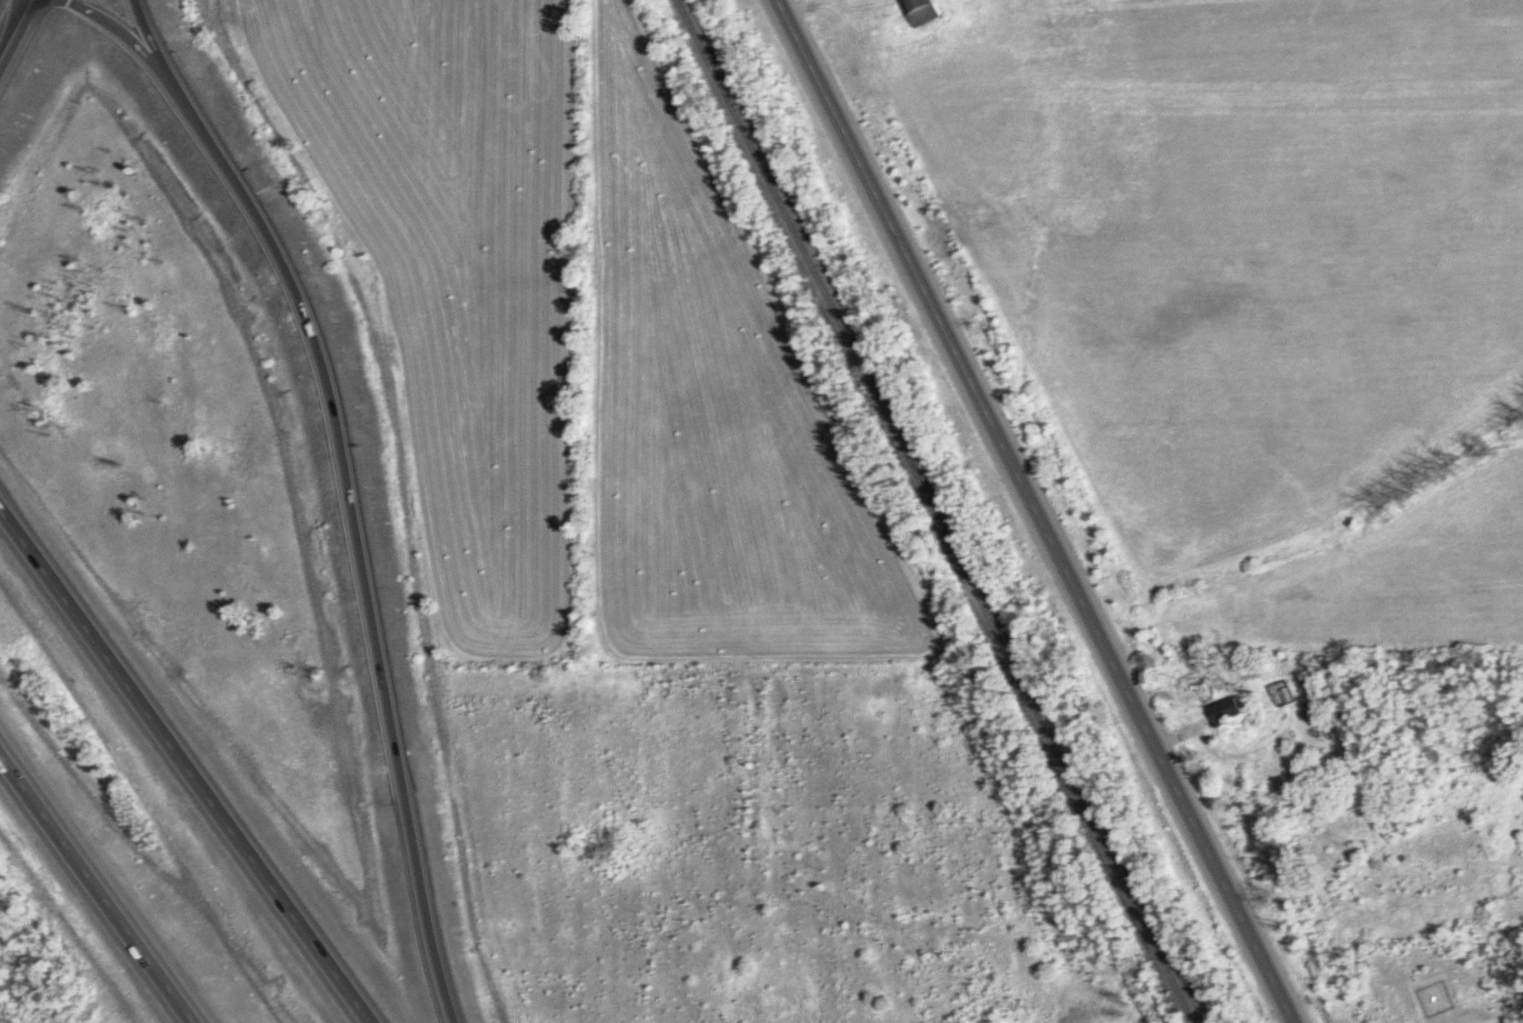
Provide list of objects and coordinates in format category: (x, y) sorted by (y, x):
building: (919, 11)
road: (10, 20)
road: (146, 29)
road: (358, 469)
railway: (938, 510)
road: (1043, 511)
building: (1206, 685)
building: (1225, 710)
road: (186, 765)
road: (99, 886)

